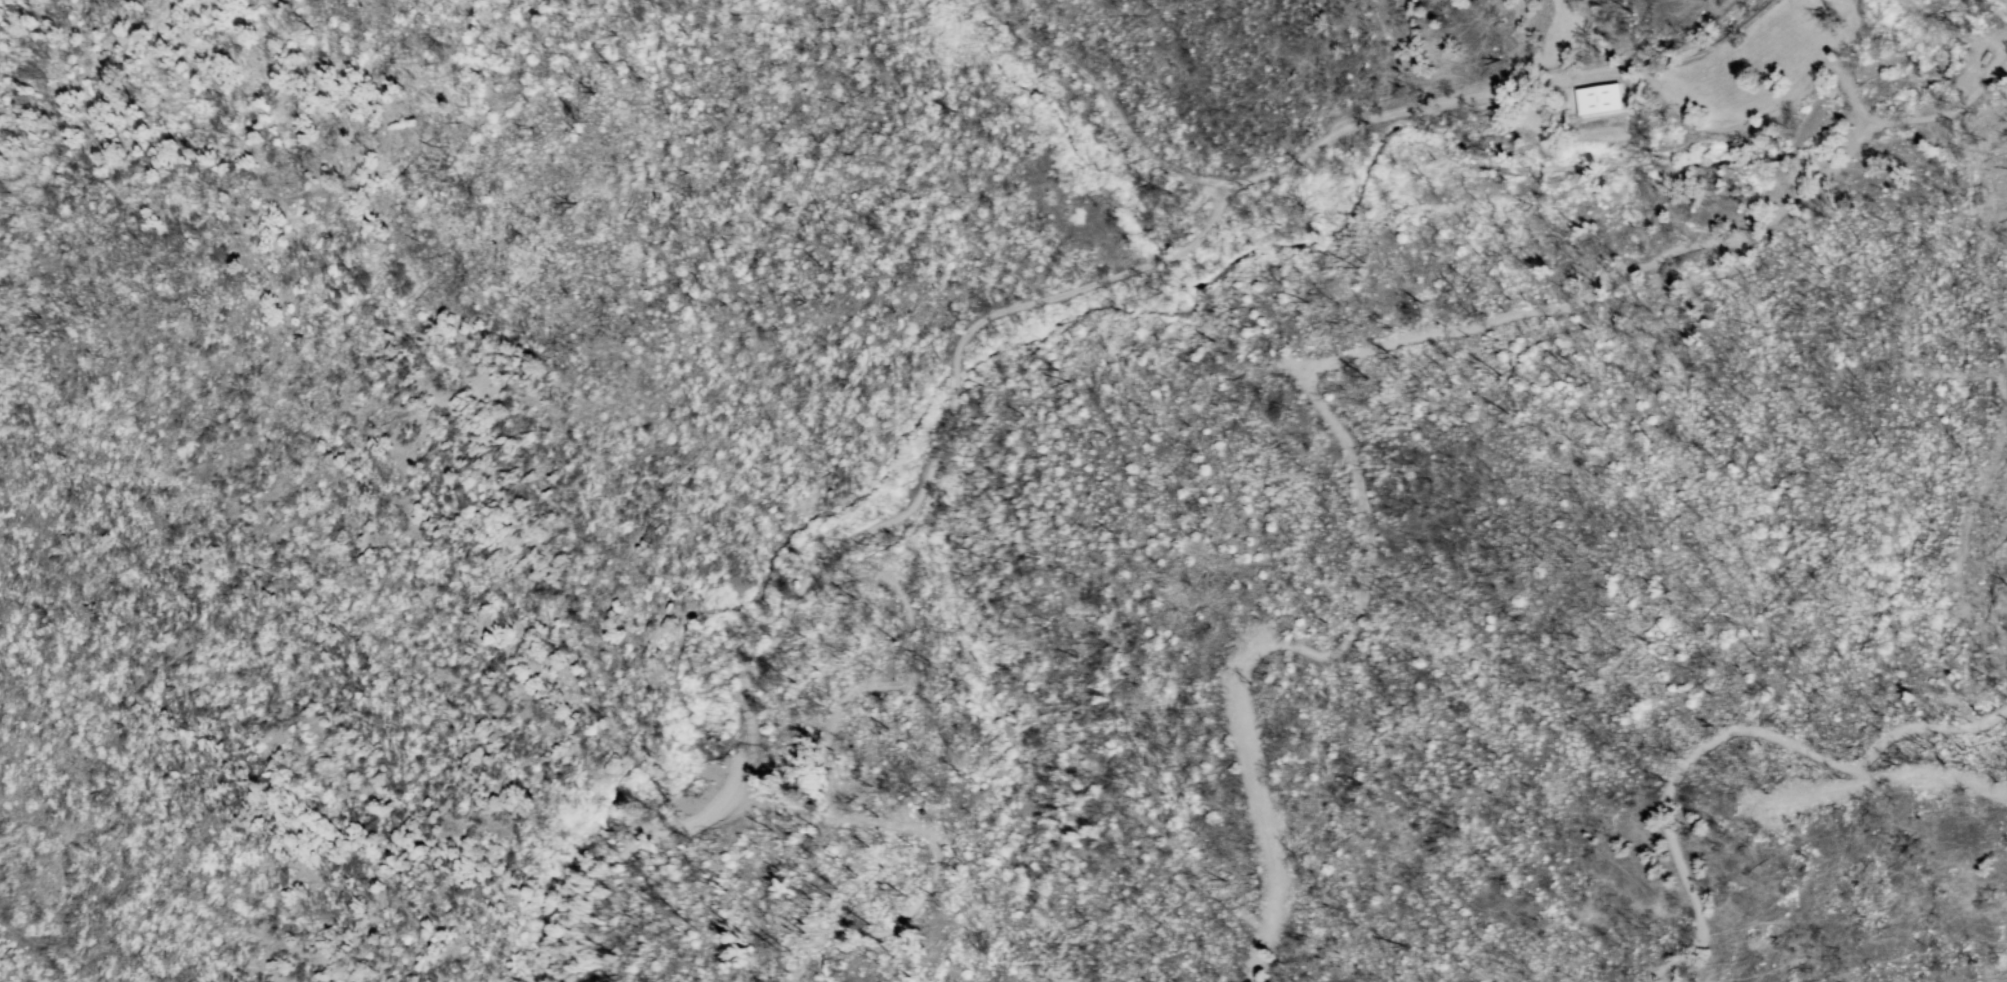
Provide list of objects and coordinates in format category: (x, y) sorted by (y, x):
building: (1596, 95)
road: (1361, 119)

